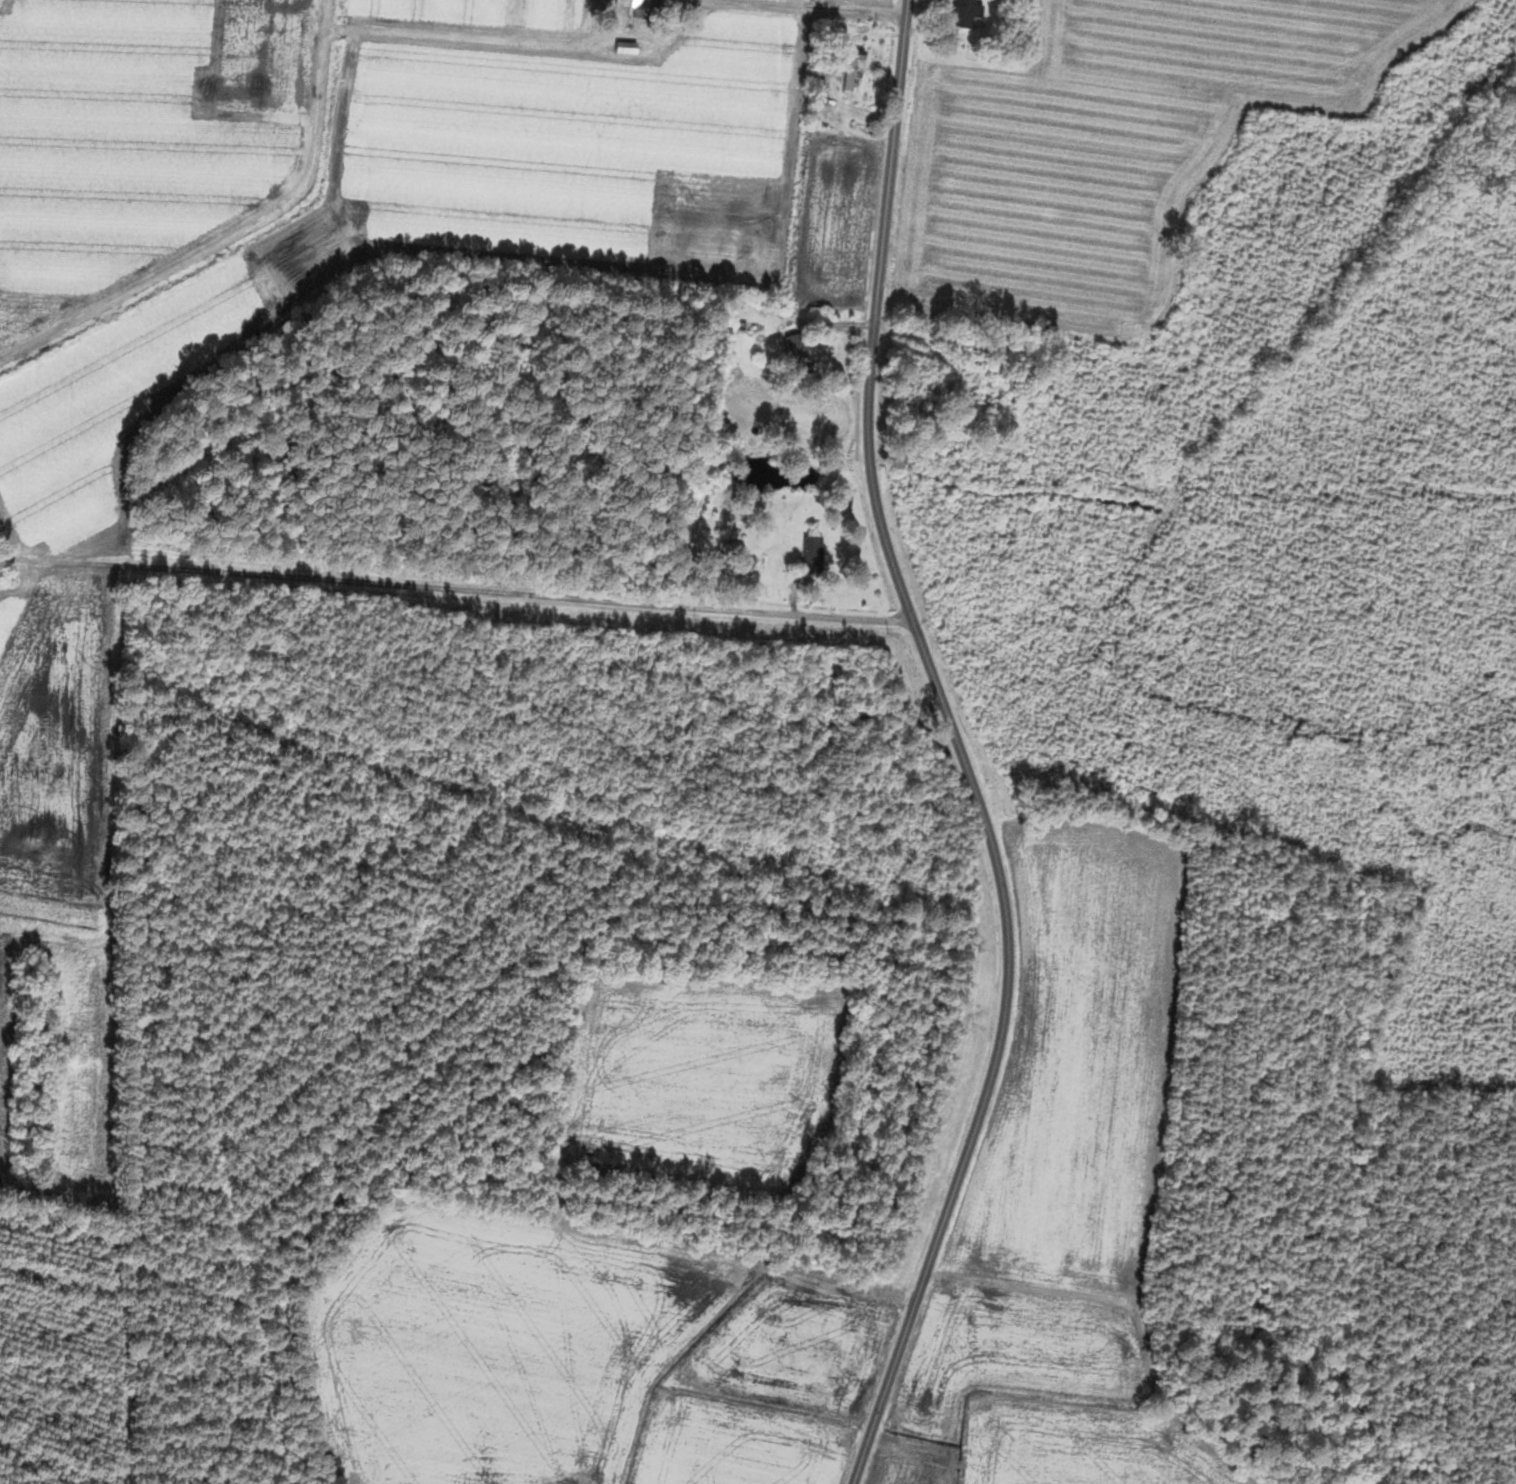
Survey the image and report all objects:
building: (639, 8)
road: (799, 8)
building: (966, 14)
building: (533, 42)
building: (628, 47)
road: (896, 55)
building: (853, 71)
building: (796, 351)
building: (976, 386)
building: (814, 555)
road: (453, 571)
road: (978, 801)

